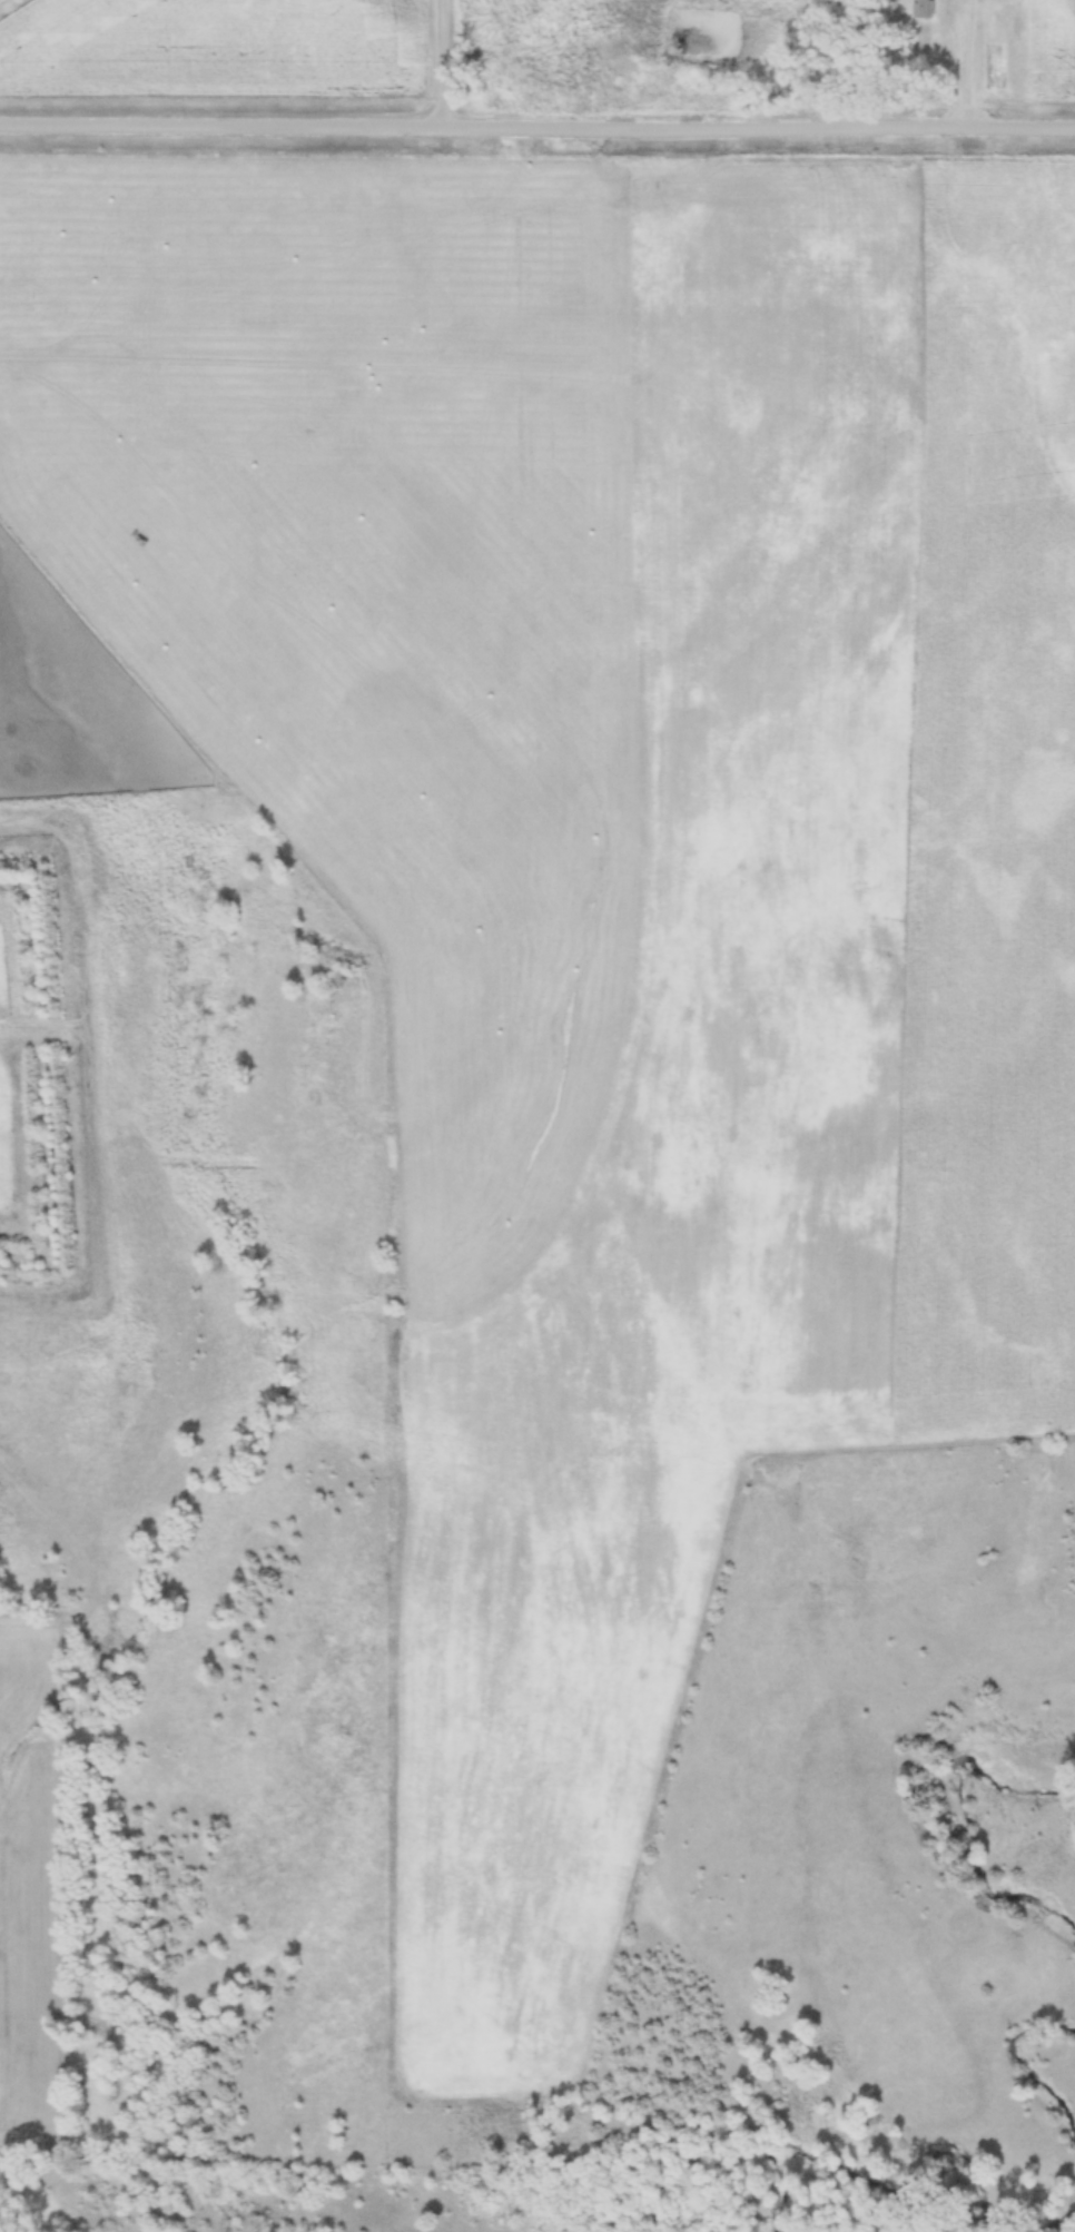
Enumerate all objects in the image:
building: (923, 10)
road: (445, 59)
road: (536, 119)

